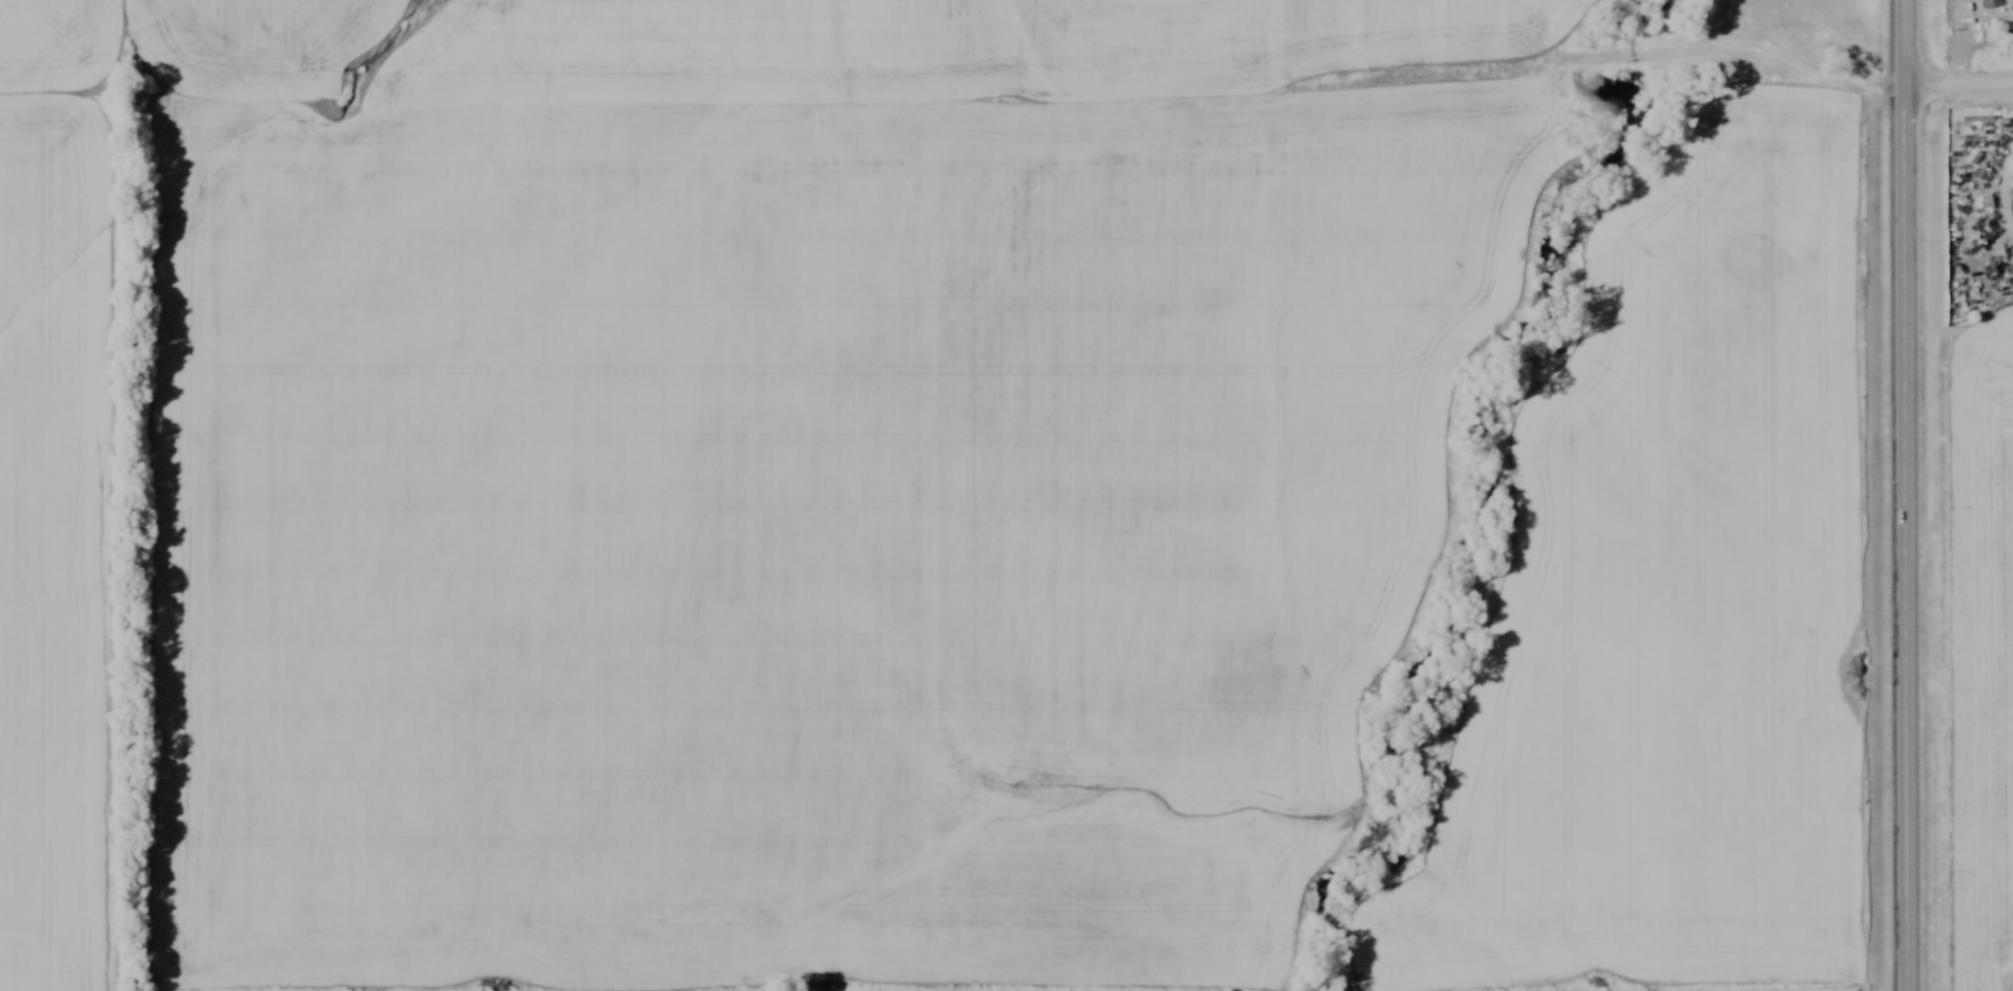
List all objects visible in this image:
building: (1990, 4)
road: (1961, 32)
road: (1959, 85)
road: (1906, 495)

